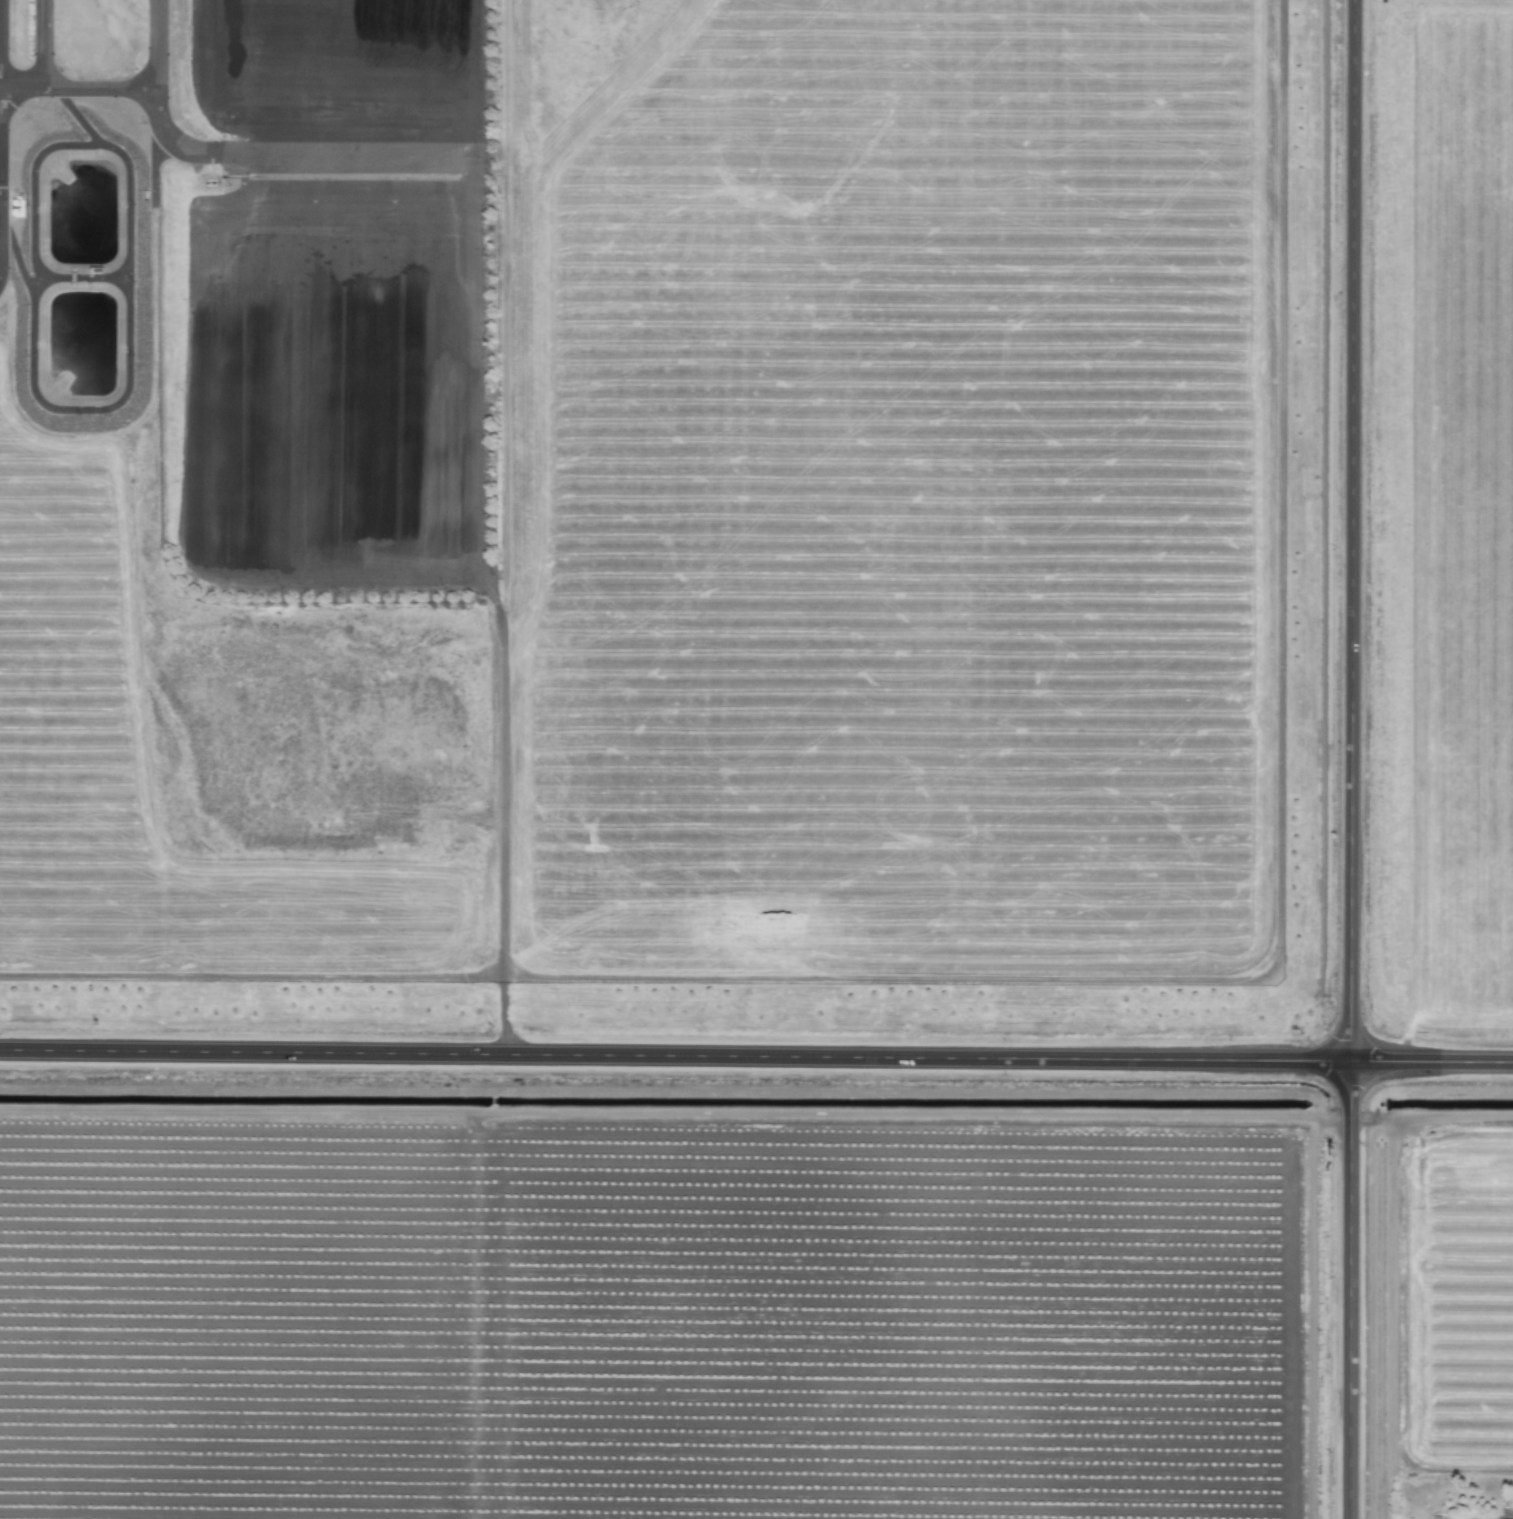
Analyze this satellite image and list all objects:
road: (40, 49)
road: (126, 99)
road: (366, 157)
road: (1348, 759)
road: (756, 1052)

